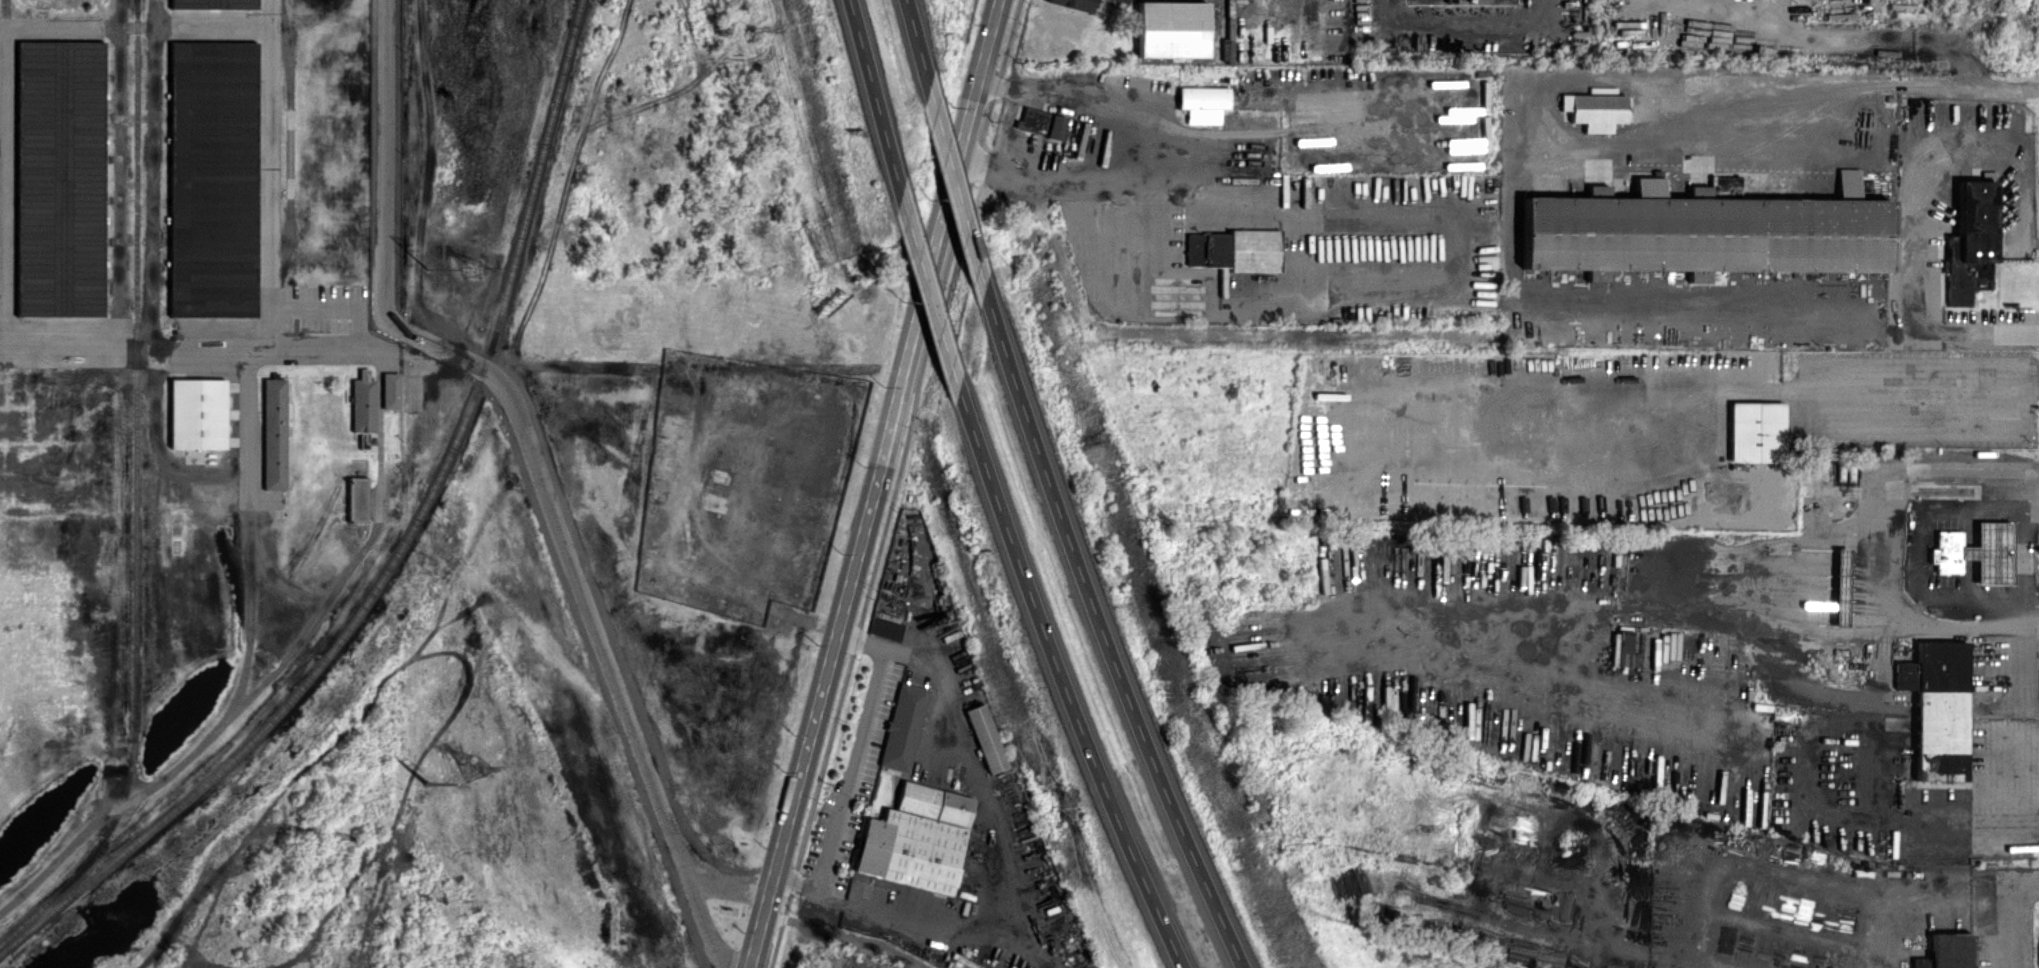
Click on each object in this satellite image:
building: (1127, 0)
building: (216, 4)
building: (1077, 4)
road: (1461, 20)
building: (1174, 29)
road: (1865, 36)
road: (915, 42)
road: (1890, 83)
road: (873, 97)
building: (1206, 103)
building: (1596, 110)
road: (1145, 116)
building: (1043, 122)
building: (62, 178)
building: (216, 178)
road: (1063, 180)
road: (954, 185)
road: (2006, 203)
building: (1707, 230)
building: (1971, 244)
road: (1920, 245)
road: (273, 259)
power tower: (477, 267)
power tower: (432, 270)
road: (927, 294)
road: (340, 302)
road: (226, 343)
building: (393, 390)
road: (1762, 393)
building: (366, 402)
building: (200, 413)
road: (249, 423)
building: (1756, 431)
building: (277, 433)
road: (538, 463)
road: (881, 483)
road: (895, 483)
building: (360, 499)
railway: (140, 500)
railway: (404, 548)
road: (1877, 549)
building: (1976, 552)
road: (1924, 555)
building: (885, 629)
road: (1102, 631)
building: (1627, 656)
road: (1063, 683)
building: (1937, 708)
building: (902, 727)
building: (987, 738)
road: (852, 764)
power tower: (476, 766)
power tower: (430, 784)
road: (2005, 788)
building: (916, 839)
road: (1006, 855)
road: (813, 906)
road: (2013, 916)
road: (848, 936)
building: (1946, 951)

